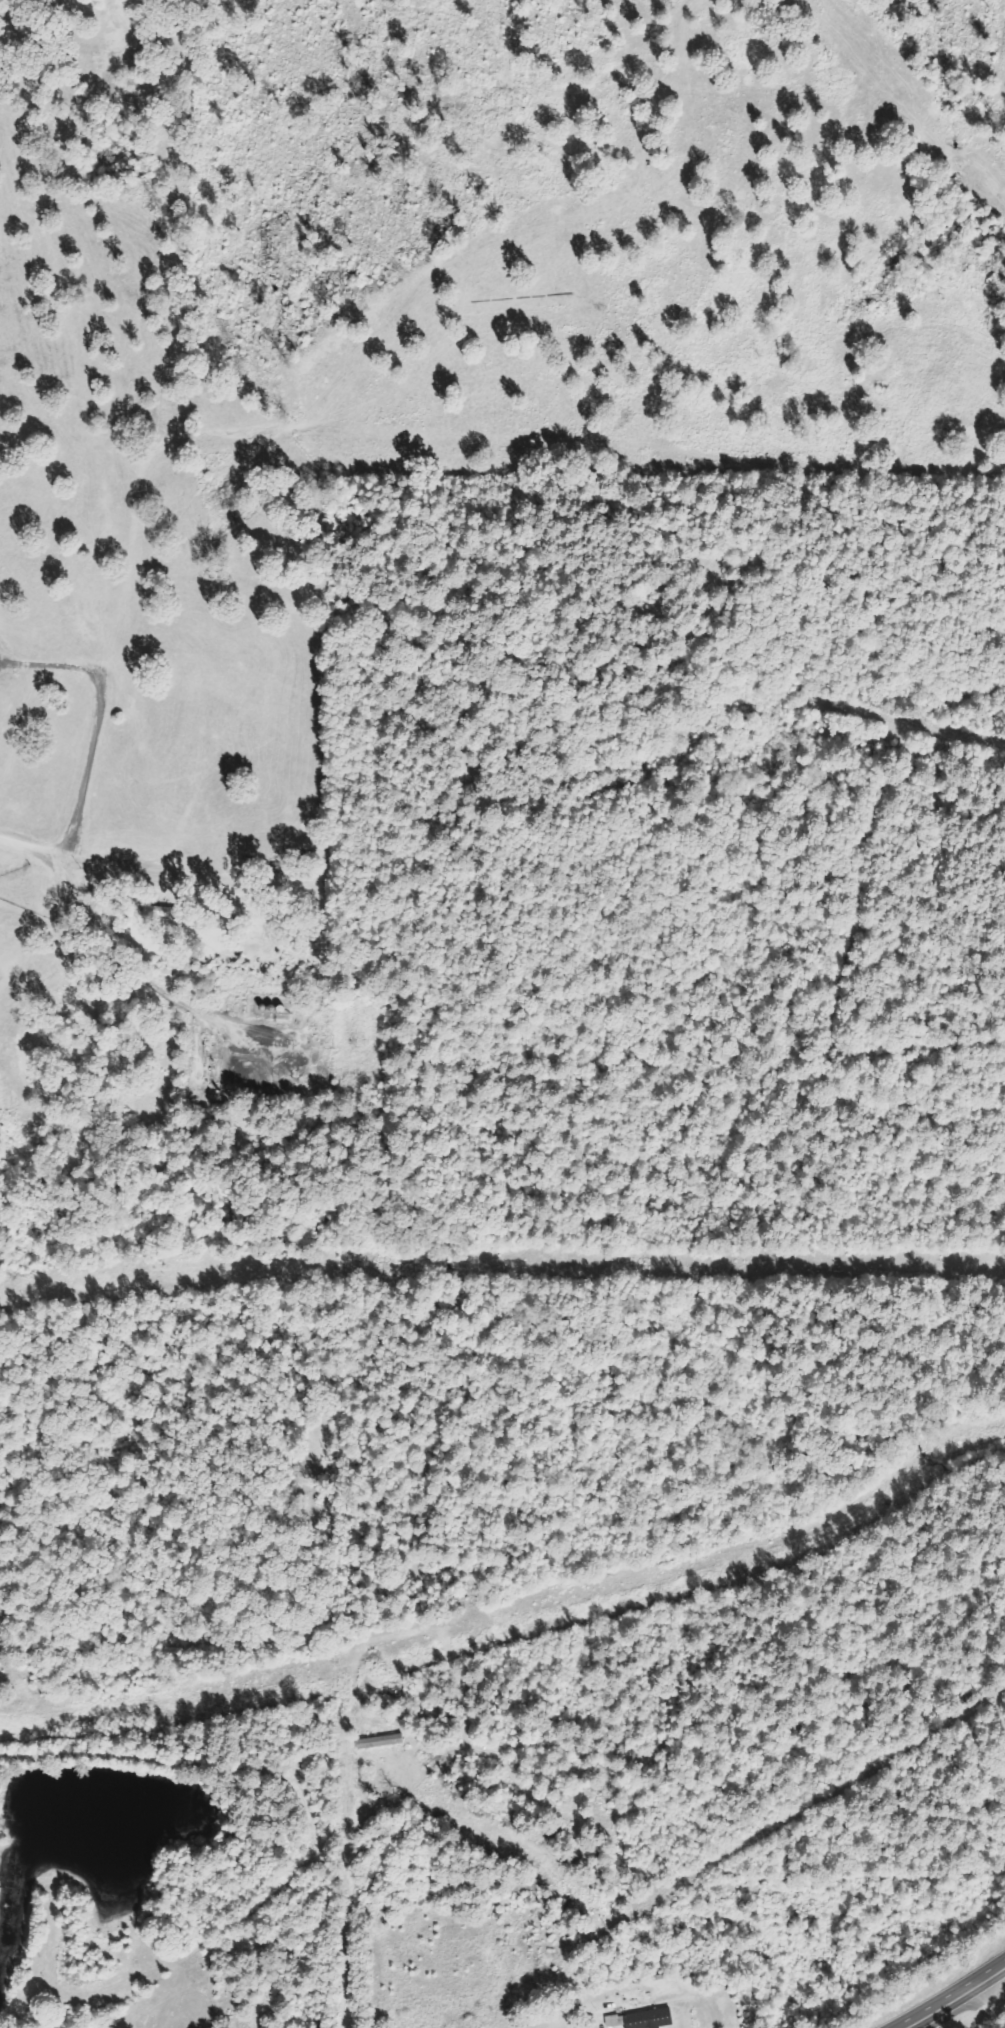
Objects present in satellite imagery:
road: (921, 736)
road: (40, 851)
road: (351, 1896)
road: (957, 1998)
road: (989, 2005)
building: (642, 2020)

